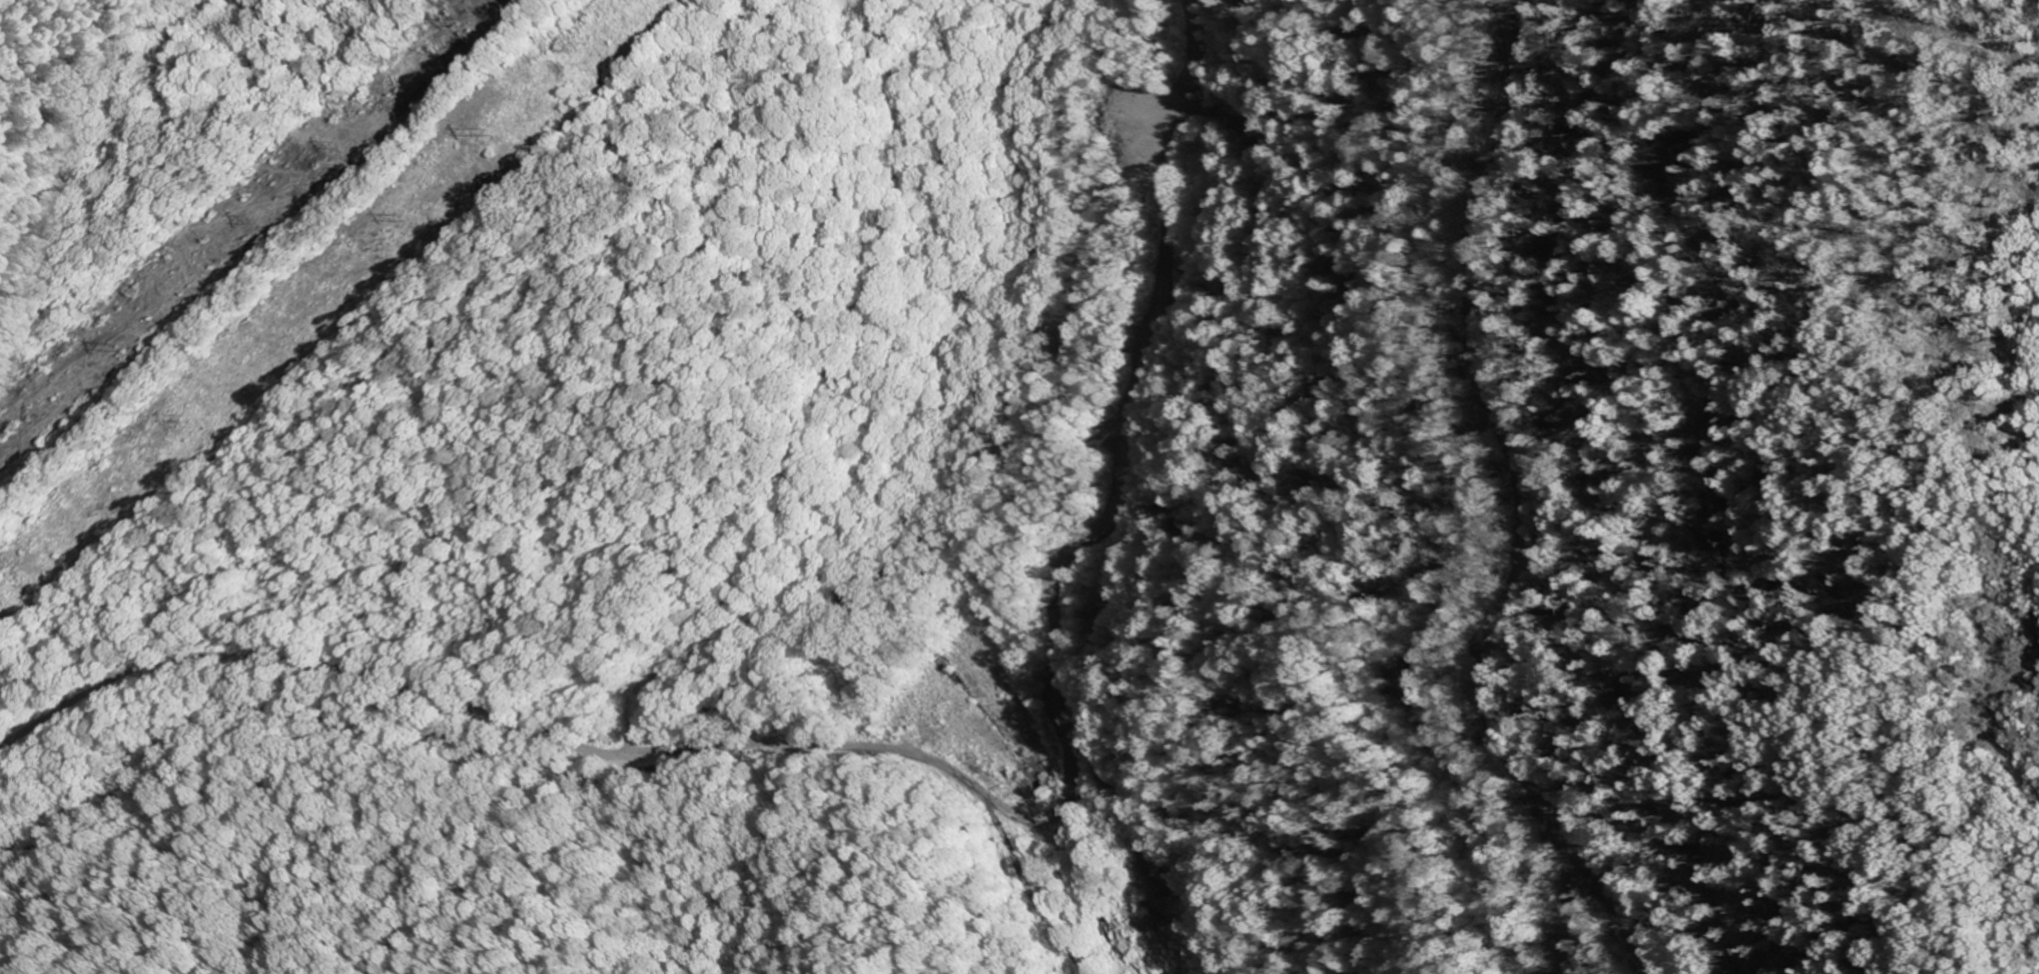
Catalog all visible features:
power tower: (489, 127)
power tower: (396, 216)
power tower: (177, 414)
road: (915, 757)

